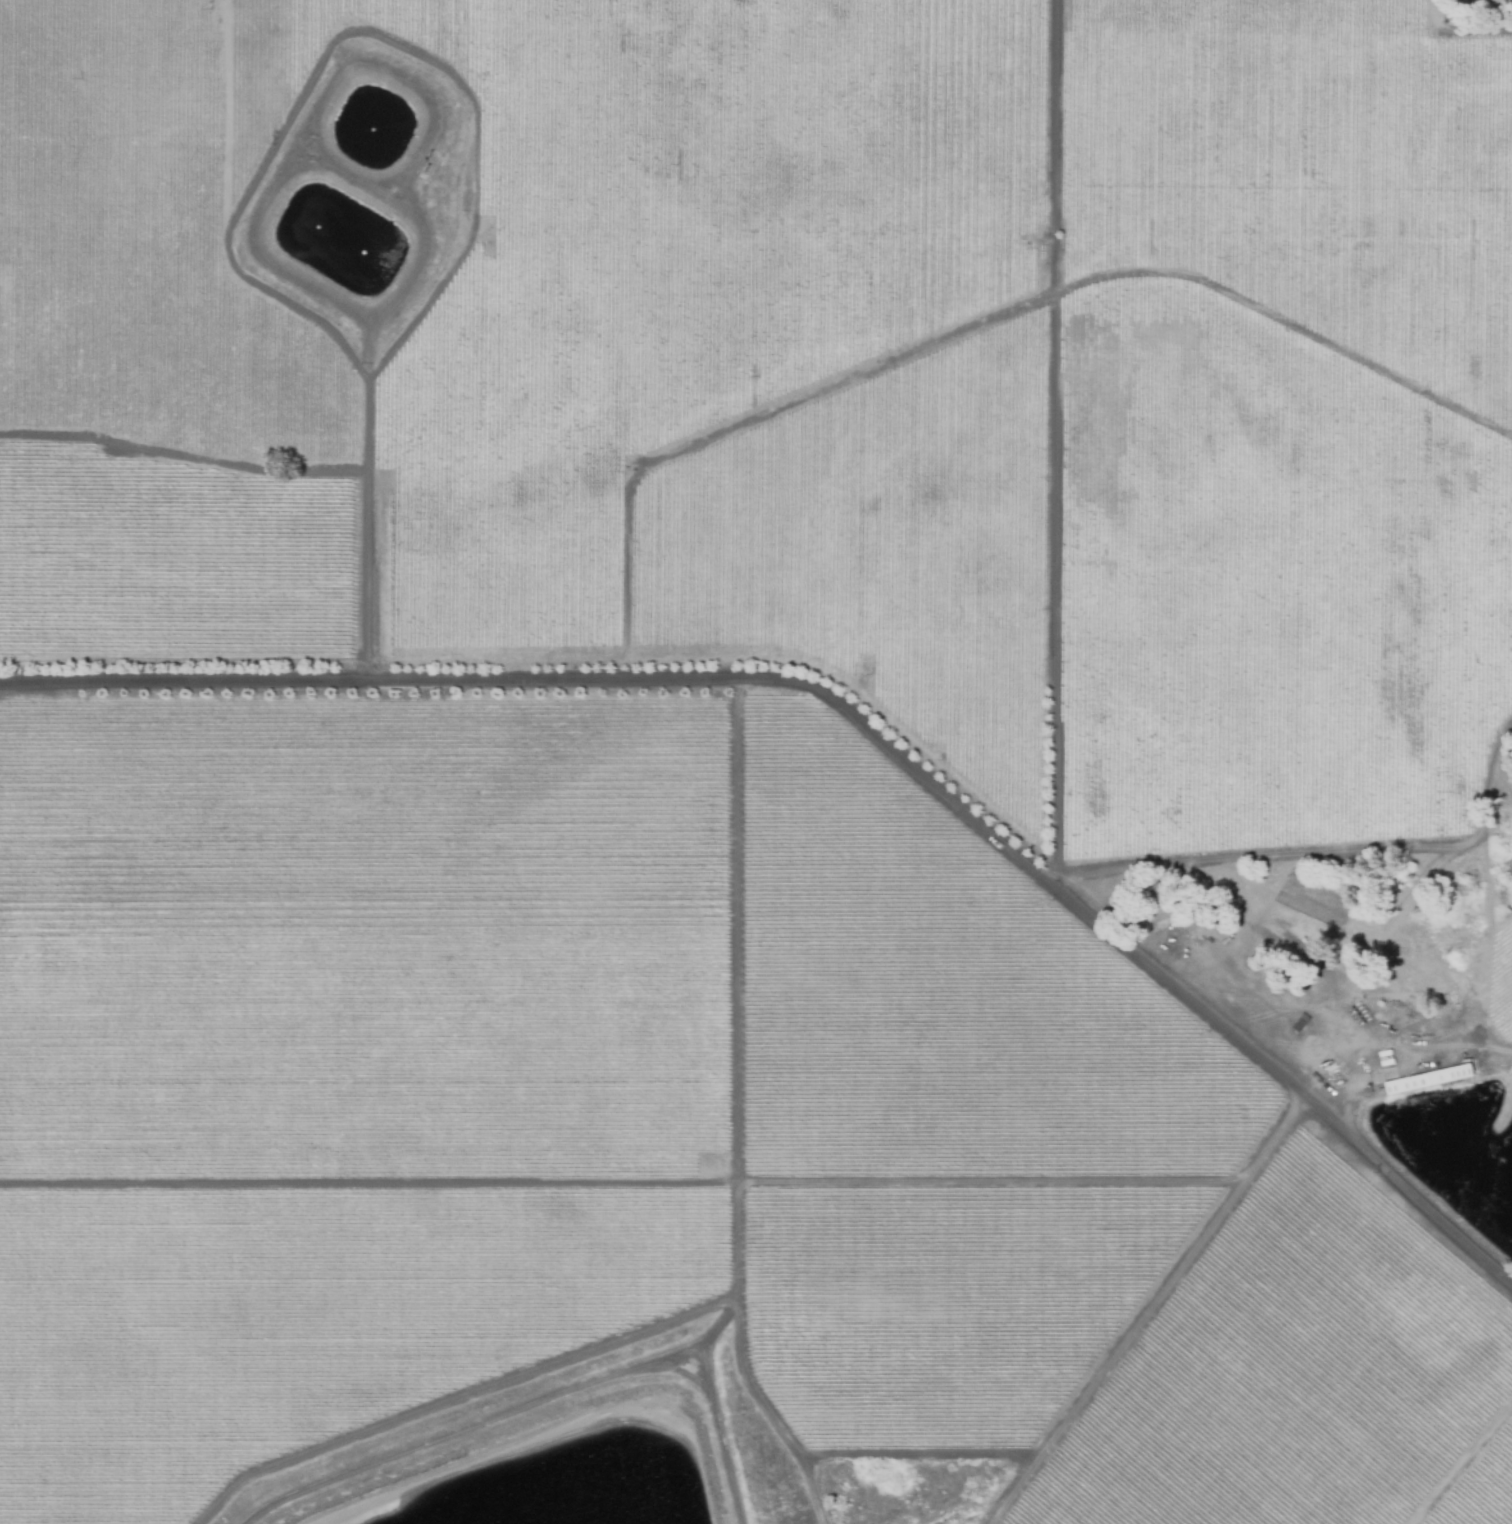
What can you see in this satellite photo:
road: (851, 712)
building: (1403, 1086)
dam: (543, 1424)

